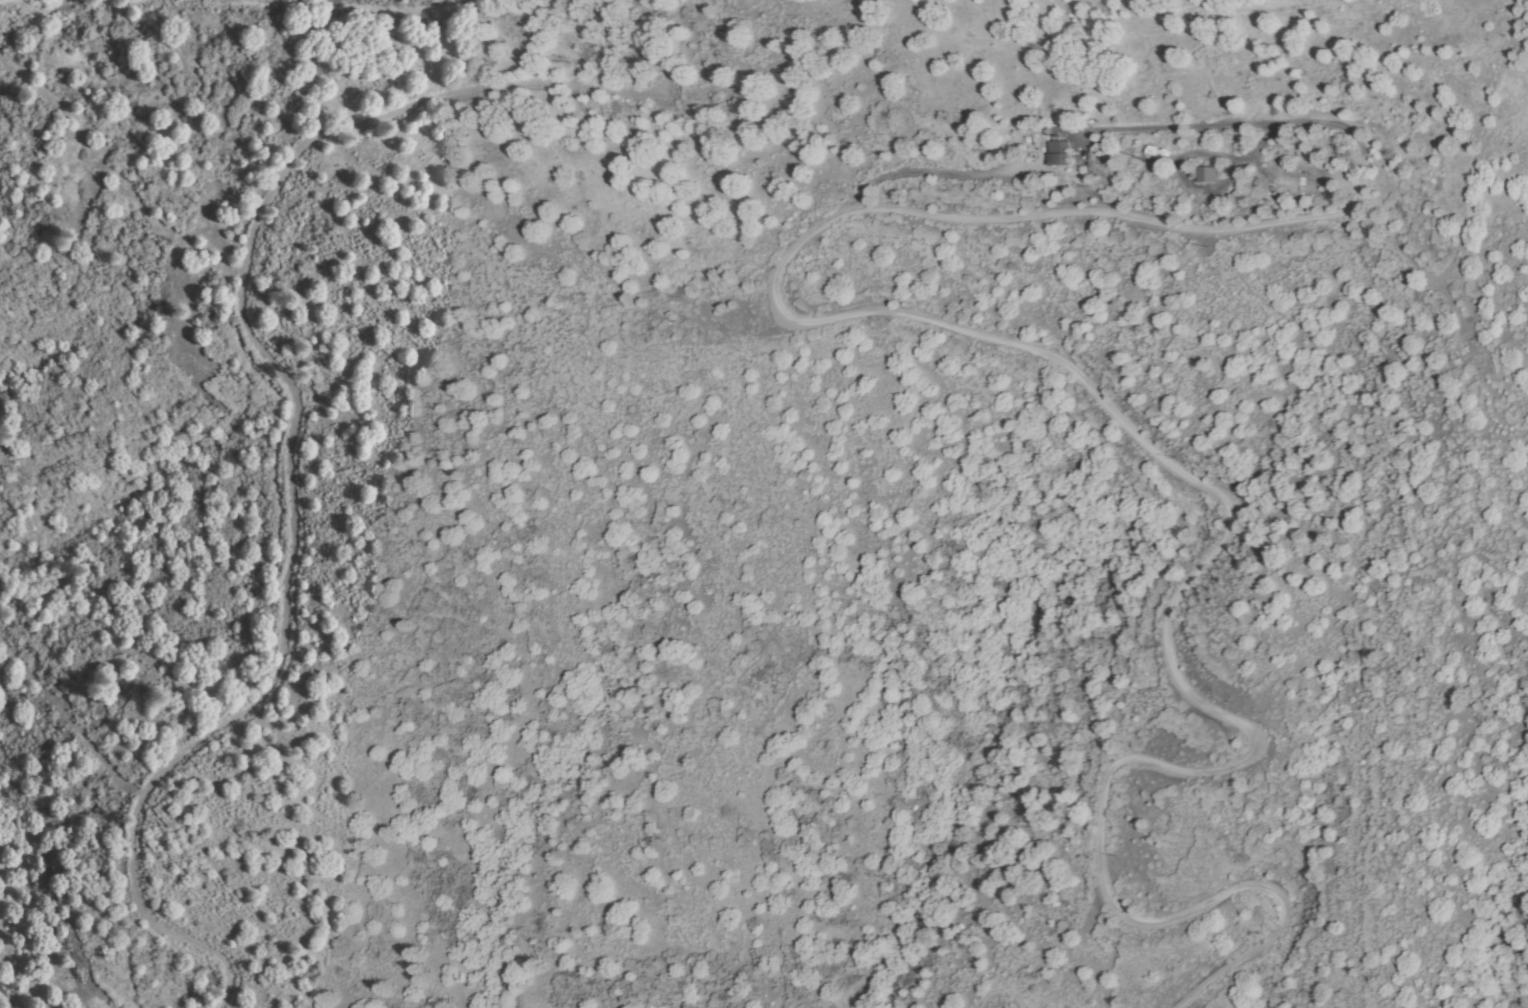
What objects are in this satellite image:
building: (1058, 151)
building: (1160, 152)
building: (1093, 162)
building: (1209, 175)
building: (1320, 194)
building: (1235, 199)
road: (1000, 340)
road: (272, 347)
road: (212, 961)
road: (8, 993)

